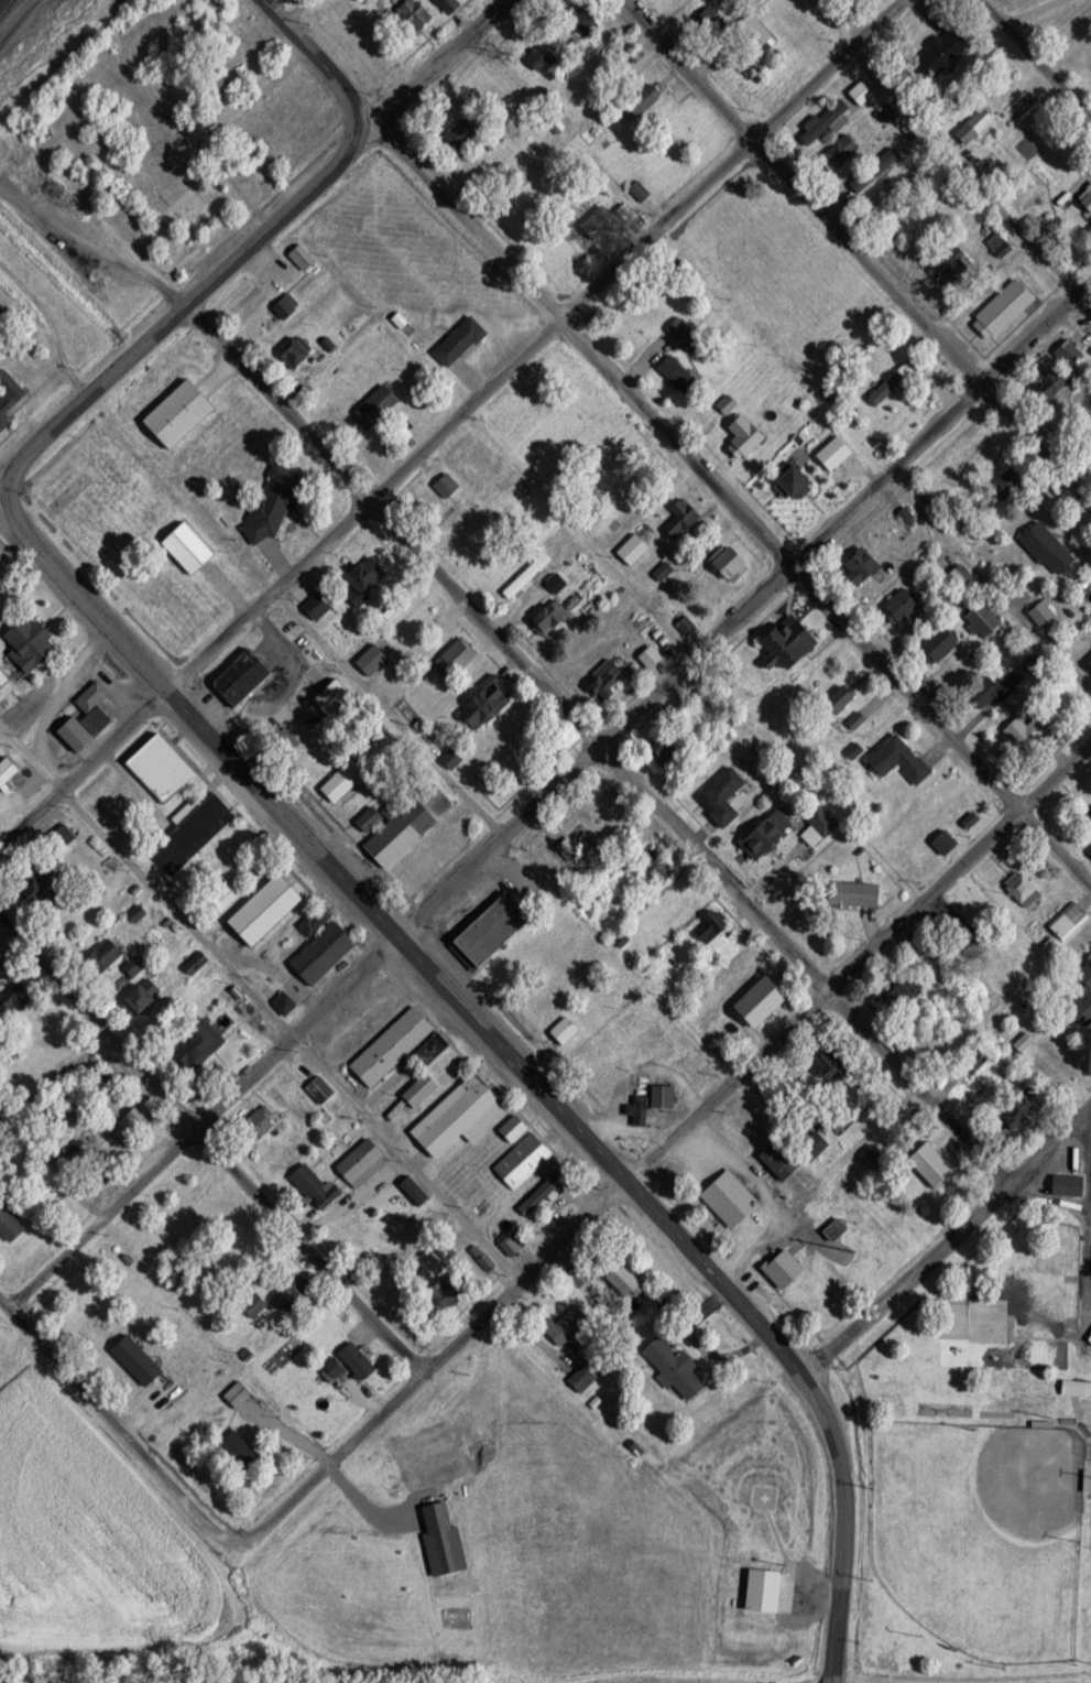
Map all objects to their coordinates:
railway: (0, 0)
building: (449, 6)
railway: (7, 8)
building: (415, 15)
building: (710, 19)
road: (880, 20)
building: (586, 22)
building: (754, 32)
building: (372, 50)
building: (942, 52)
building: (541, 56)
road: (1037, 56)
road: (319, 58)
road: (433, 67)
building: (862, 93)
building: (645, 100)
building: (887, 115)
building: (826, 122)
building: (974, 124)
building: (462, 133)
building: (842, 151)
building: (890, 156)
building: (859, 185)
building: (640, 191)
building: (1087, 197)
building: (1066, 200)
building: (600, 222)
road: (859, 249)
building: (302, 257)
building: (956, 267)
building: (287, 306)
road: (178, 310)
building: (1005, 310)
building: (681, 332)
building: (461, 340)
building: (296, 350)
building: (1070, 354)
building: (679, 373)
building: (1056, 381)
building: (892, 382)
building: (10, 398)
building: (179, 413)
building: (749, 439)
road: (428, 442)
building: (836, 452)
building: (1012, 478)
building: (796, 482)
building: (446, 487)
road: (4, 496)
road: (730, 498)
road: (4, 499)
building: (275, 502)
building: (683, 517)
building: (189, 546)
building: (635, 549)
building: (1050, 549)
building: (732, 562)
building: (863, 565)
building: (530, 573)
building: (368, 578)
building: (958, 578)
road: (986, 580)
building: (557, 582)
building: (318, 605)
building: (903, 606)
building: (1043, 614)
building: (550, 617)
building: (985, 619)
building: (34, 639)
building: (792, 641)
building: (941, 643)
building: (589, 645)
building: (460, 654)
building: (372, 659)
building: (242, 675)
building: (608, 676)
building: (3, 677)
road: (536, 678)
building: (996, 687)
building: (844, 695)
building: (338, 699)
building: (487, 703)
road: (390, 713)
building: (88, 718)
building: (1027, 732)
building: (670, 747)
building: (901, 758)
building: (163, 767)
building: (12, 775)
building: (345, 781)
road: (553, 793)
building: (724, 795)
building: (601, 808)
building: (1090, 813)
building: (405, 824)
building: (819, 827)
building: (193, 832)
building: (770, 834)
building: (61, 838)
building: (947, 841)
building: (1090, 850)
building: (657, 864)
building: (40, 881)
building: (1023, 888)
building: (857, 893)
building: (269, 909)
building: (140, 913)
building: (1068, 919)
building: (317, 921)
building: (490, 922)
building: (711, 930)
road: (400, 941)
building: (109, 953)
building: (324, 953)
building: (572, 955)
building: (197, 962)
building: (135, 965)
building: (742, 970)
building: (0, 974)
building: (912, 989)
building: (143, 997)
building: (765, 998)
building: (1083, 998)
building: (15, 1000)
building: (286, 1002)
road: (261, 1003)
building: (201, 1043)
building: (394, 1046)
building: (977, 1060)
building: (834, 1065)
building: (100, 1081)
building: (320, 1089)
building: (653, 1103)
building: (1027, 1106)
building: (462, 1115)
building: (263, 1119)
building: (132, 1125)
building: (515, 1127)
road: (665, 1144)
road: (214, 1145)
building: (69, 1149)
building: (869, 1152)
building: (524, 1159)
building: (782, 1159)
building: (363, 1162)
building: (101, 1177)
building: (1068, 1184)
building: (315, 1185)
building: (543, 1192)
road: (1051, 1197)
building: (731, 1198)
building: (10, 1217)
building: (838, 1228)
road: (947, 1242)
building: (510, 1244)
building: (484, 1261)
building: (785, 1267)
building: (579, 1274)
building: (625, 1279)
building: (293, 1291)
building: (448, 1292)
building: (254, 1304)
building: (569, 1327)
building: (90, 1331)
building: (1090, 1337)
building: (1090, 1342)
building: (358, 1359)
building: (675, 1367)
building: (585, 1375)
building: (1077, 1388)
building: (239, 1394)
building: (155, 1400)
road: (113, 1421)
building: (241, 1449)
road: (843, 1525)
park: (980, 1535)
building: (767, 1589)

